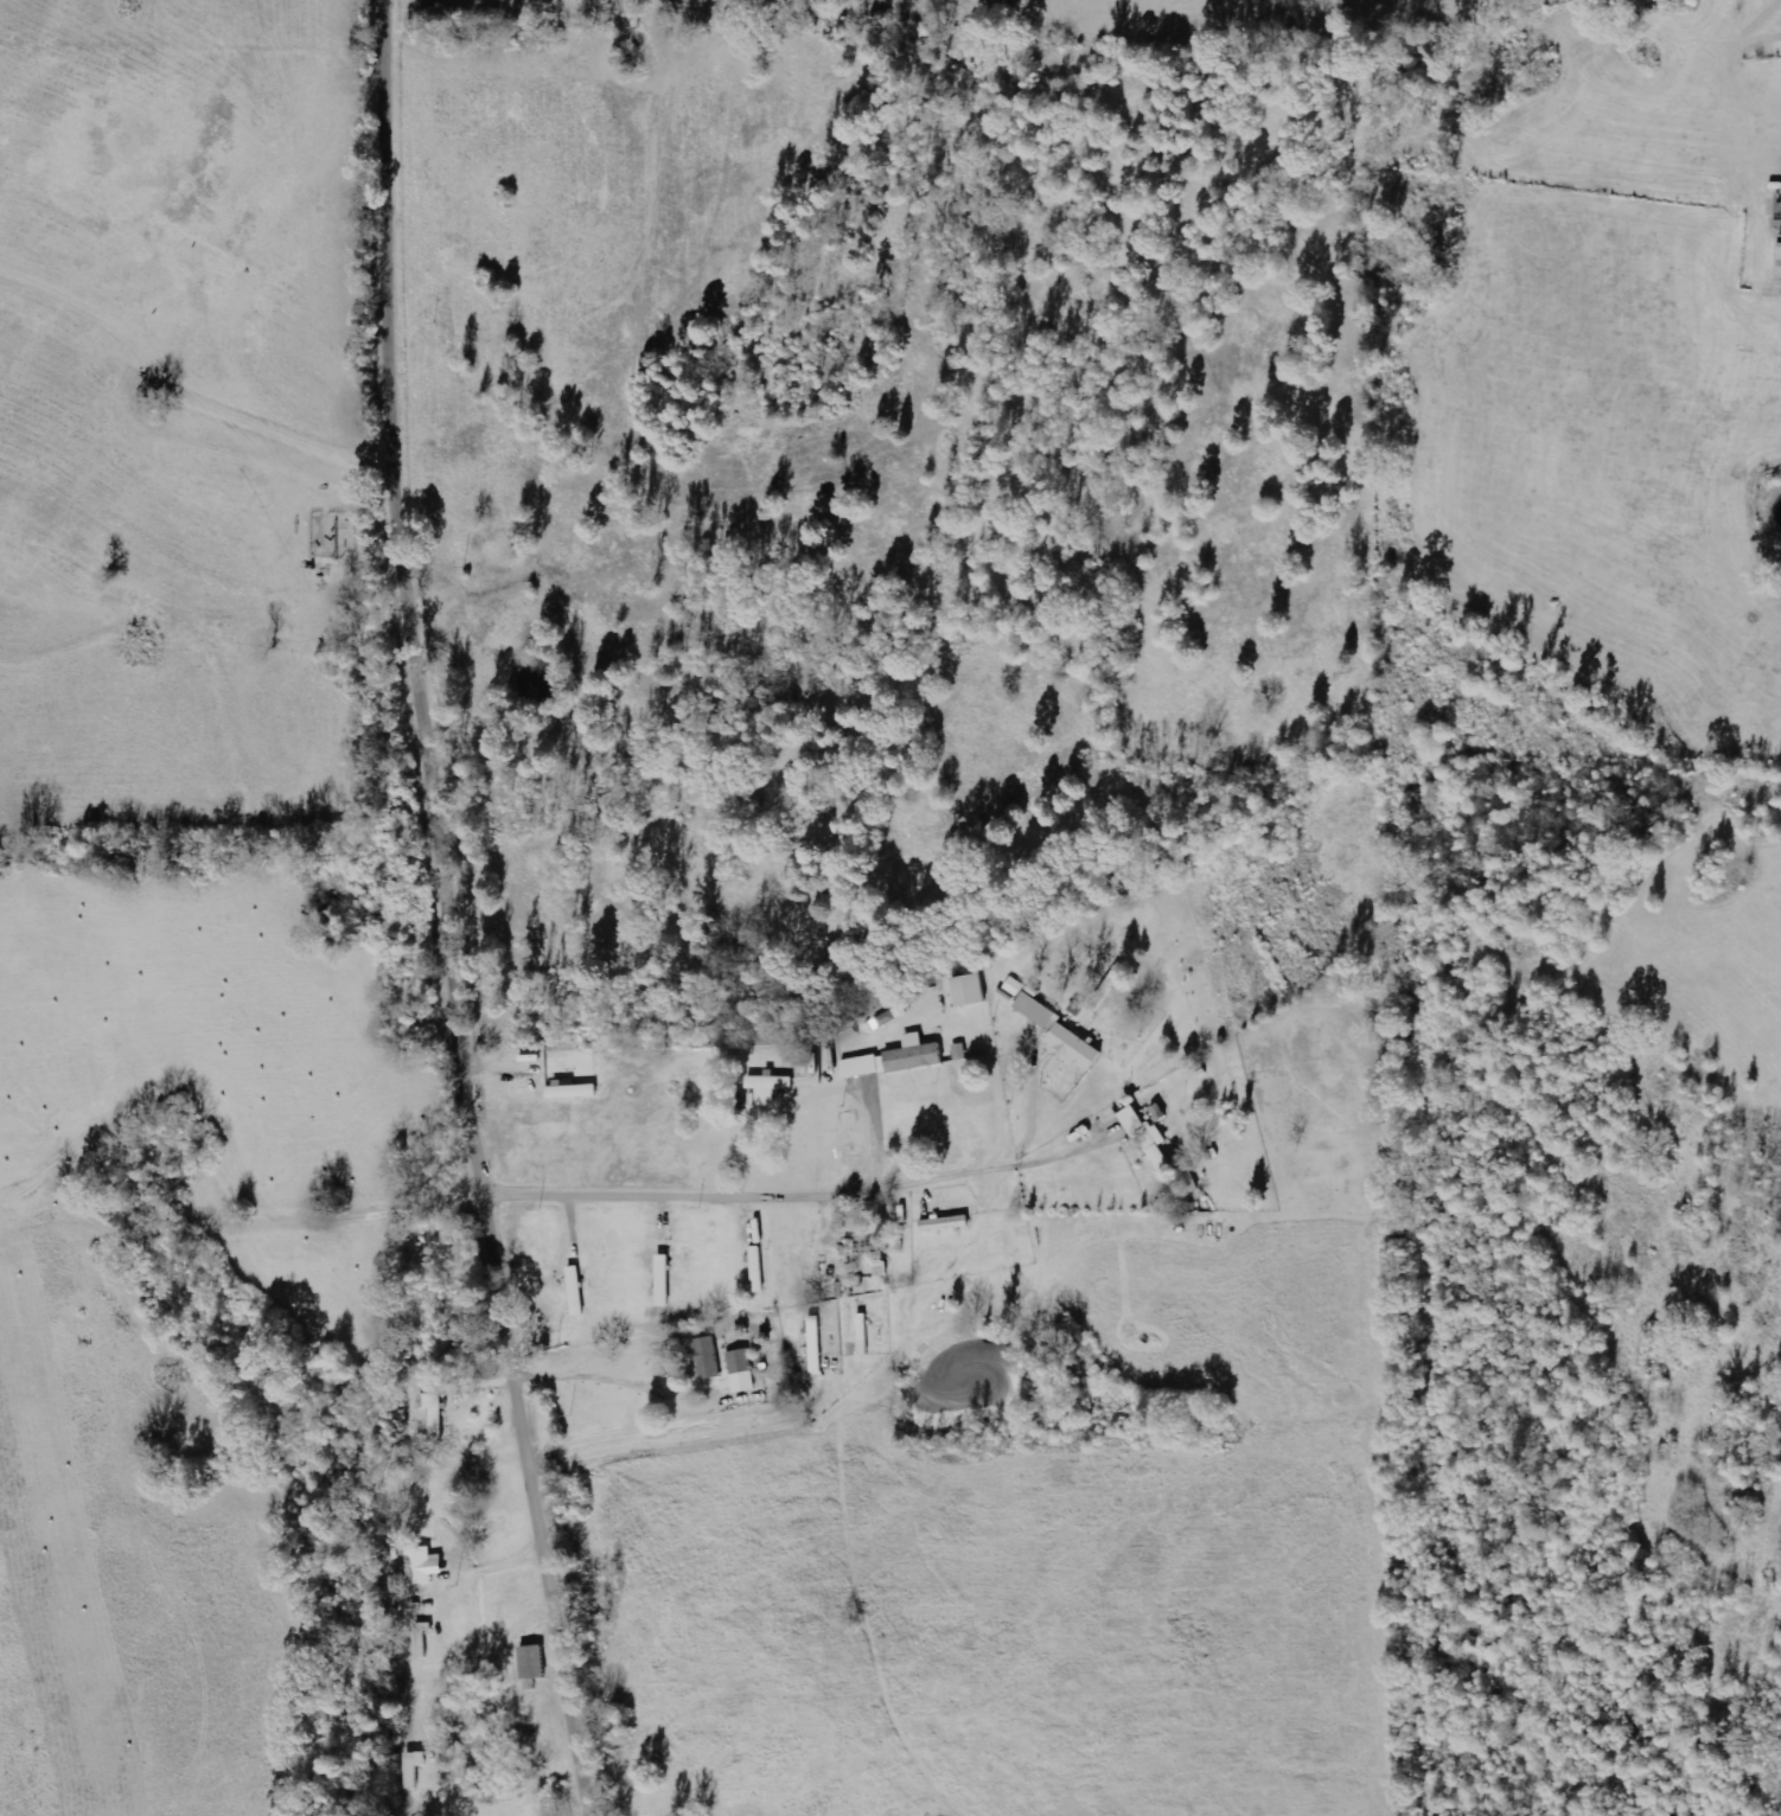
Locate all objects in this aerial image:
building: (1780, 248)
road: (455, 912)
building: (1015, 986)
building: (969, 990)
building: (1035, 1010)
building: (892, 1016)
building: (1073, 1047)
building: (895, 1059)
building: (772, 1082)
building: (1145, 1136)
road: (781, 1194)
building: (944, 1223)
road: (435, 1287)
building: (862, 1335)
building: (707, 1358)
building: (741, 1371)
building: (433, 1417)
building: (423, 1566)
building: (532, 1663)
building: (413, 1771)

